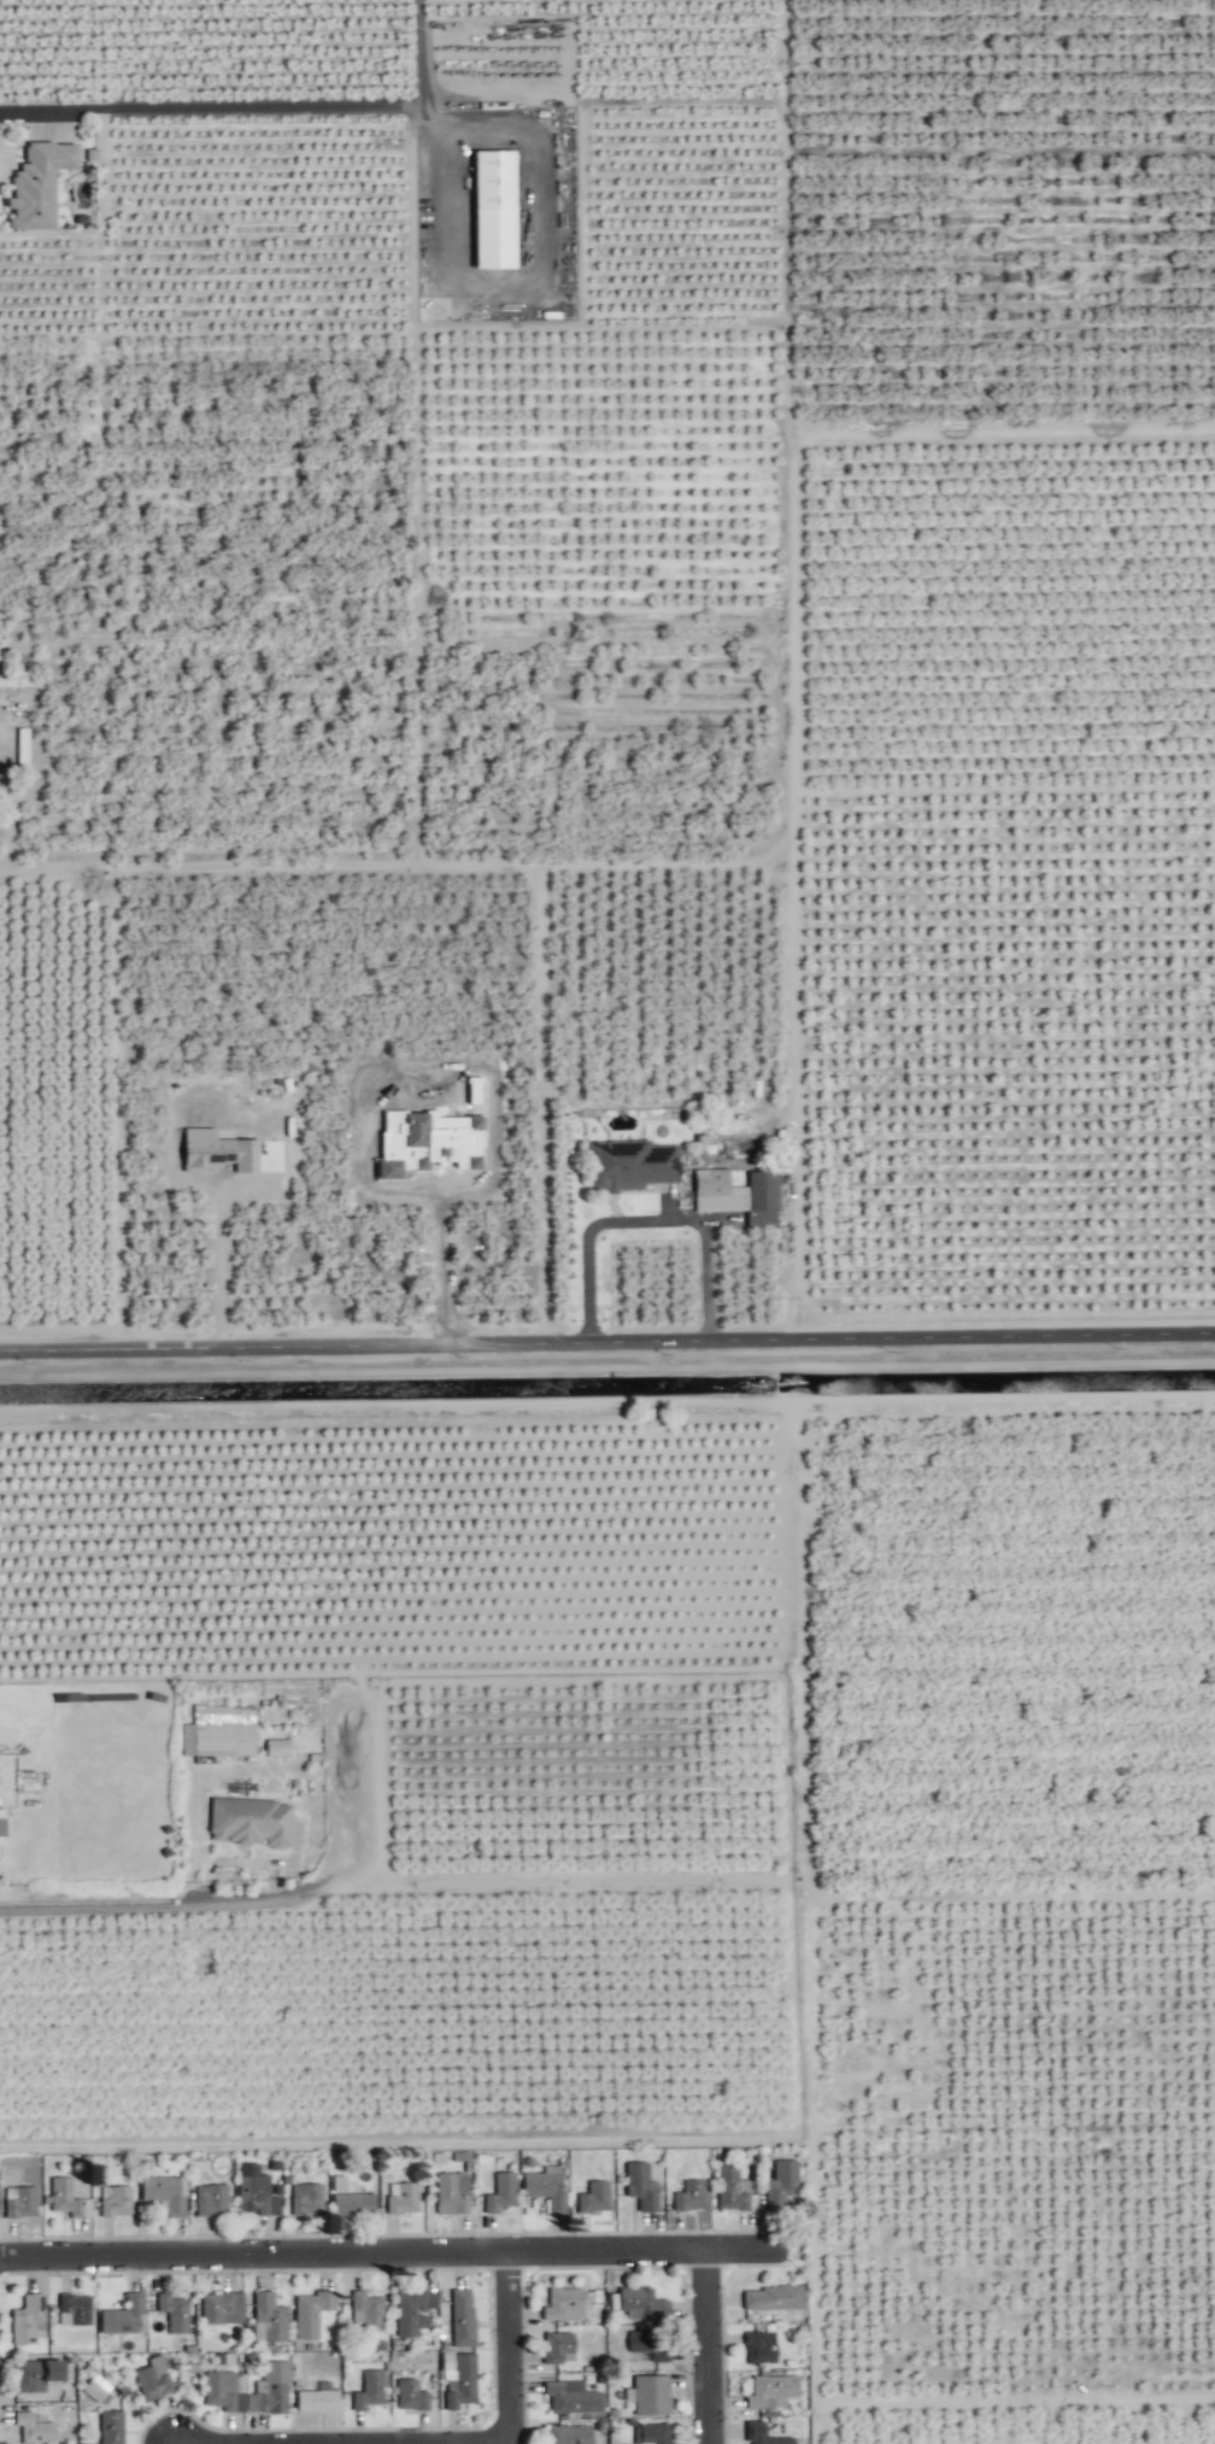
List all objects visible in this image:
road: (419, 69)
road: (210, 106)
building: (37, 183)
building: (493, 209)
road: (538, 292)
building: (13, 678)
road: (5, 828)
road: (234, 863)
building: (474, 1089)
building: (428, 1142)
building: (217, 1150)
building: (629, 1165)
building: (738, 1195)
road: (648, 1219)
road: (217, 1267)
road: (606, 1341)
building: (277, 1746)
building: (250, 1821)
building: (1, 1827)
road: (148, 1904)
building: (781, 2184)
building: (640, 2186)
building: (546, 2187)
building: (730, 2187)
building: (254, 2191)
building: (164, 2192)
building: (451, 2192)
building: (500, 2192)
building: (688, 2196)
building: (66, 2198)
building: (306, 2198)
building: (401, 2198)
building: (593, 2198)
building: (210, 2199)
building: (19, 2202)
building: (116, 2202)
building: (352, 2204)
road: (404, 2249)
building: (770, 2297)
building: (563, 2303)
building: (640, 2304)
building: (221, 2307)
building: (74, 2309)
building: (412, 2310)
building: (172, 2311)
building: (310, 2311)
building: (365, 2311)
building: (124, 2315)
building: (462, 2316)
building: (268, 2317)
building: (27, 2319)
building: (650, 2344)
road: (515, 2345)
road: (711, 2345)
building: (557, 2346)
building: (759, 2346)
building: (35, 2374)
building: (152, 2378)
building: (460, 2381)
building: (95, 2387)
building: (270, 2389)
building: (223, 2390)
building: (368, 2390)
building: (770, 2390)
building: (410, 2395)
building: (648, 2395)
building: (570, 2396)
building: (316, 2401)
building: (110, 2426)
building: (34, 2428)
building: (651, 2433)
building: (567, 2434)
building: (763, 2434)

